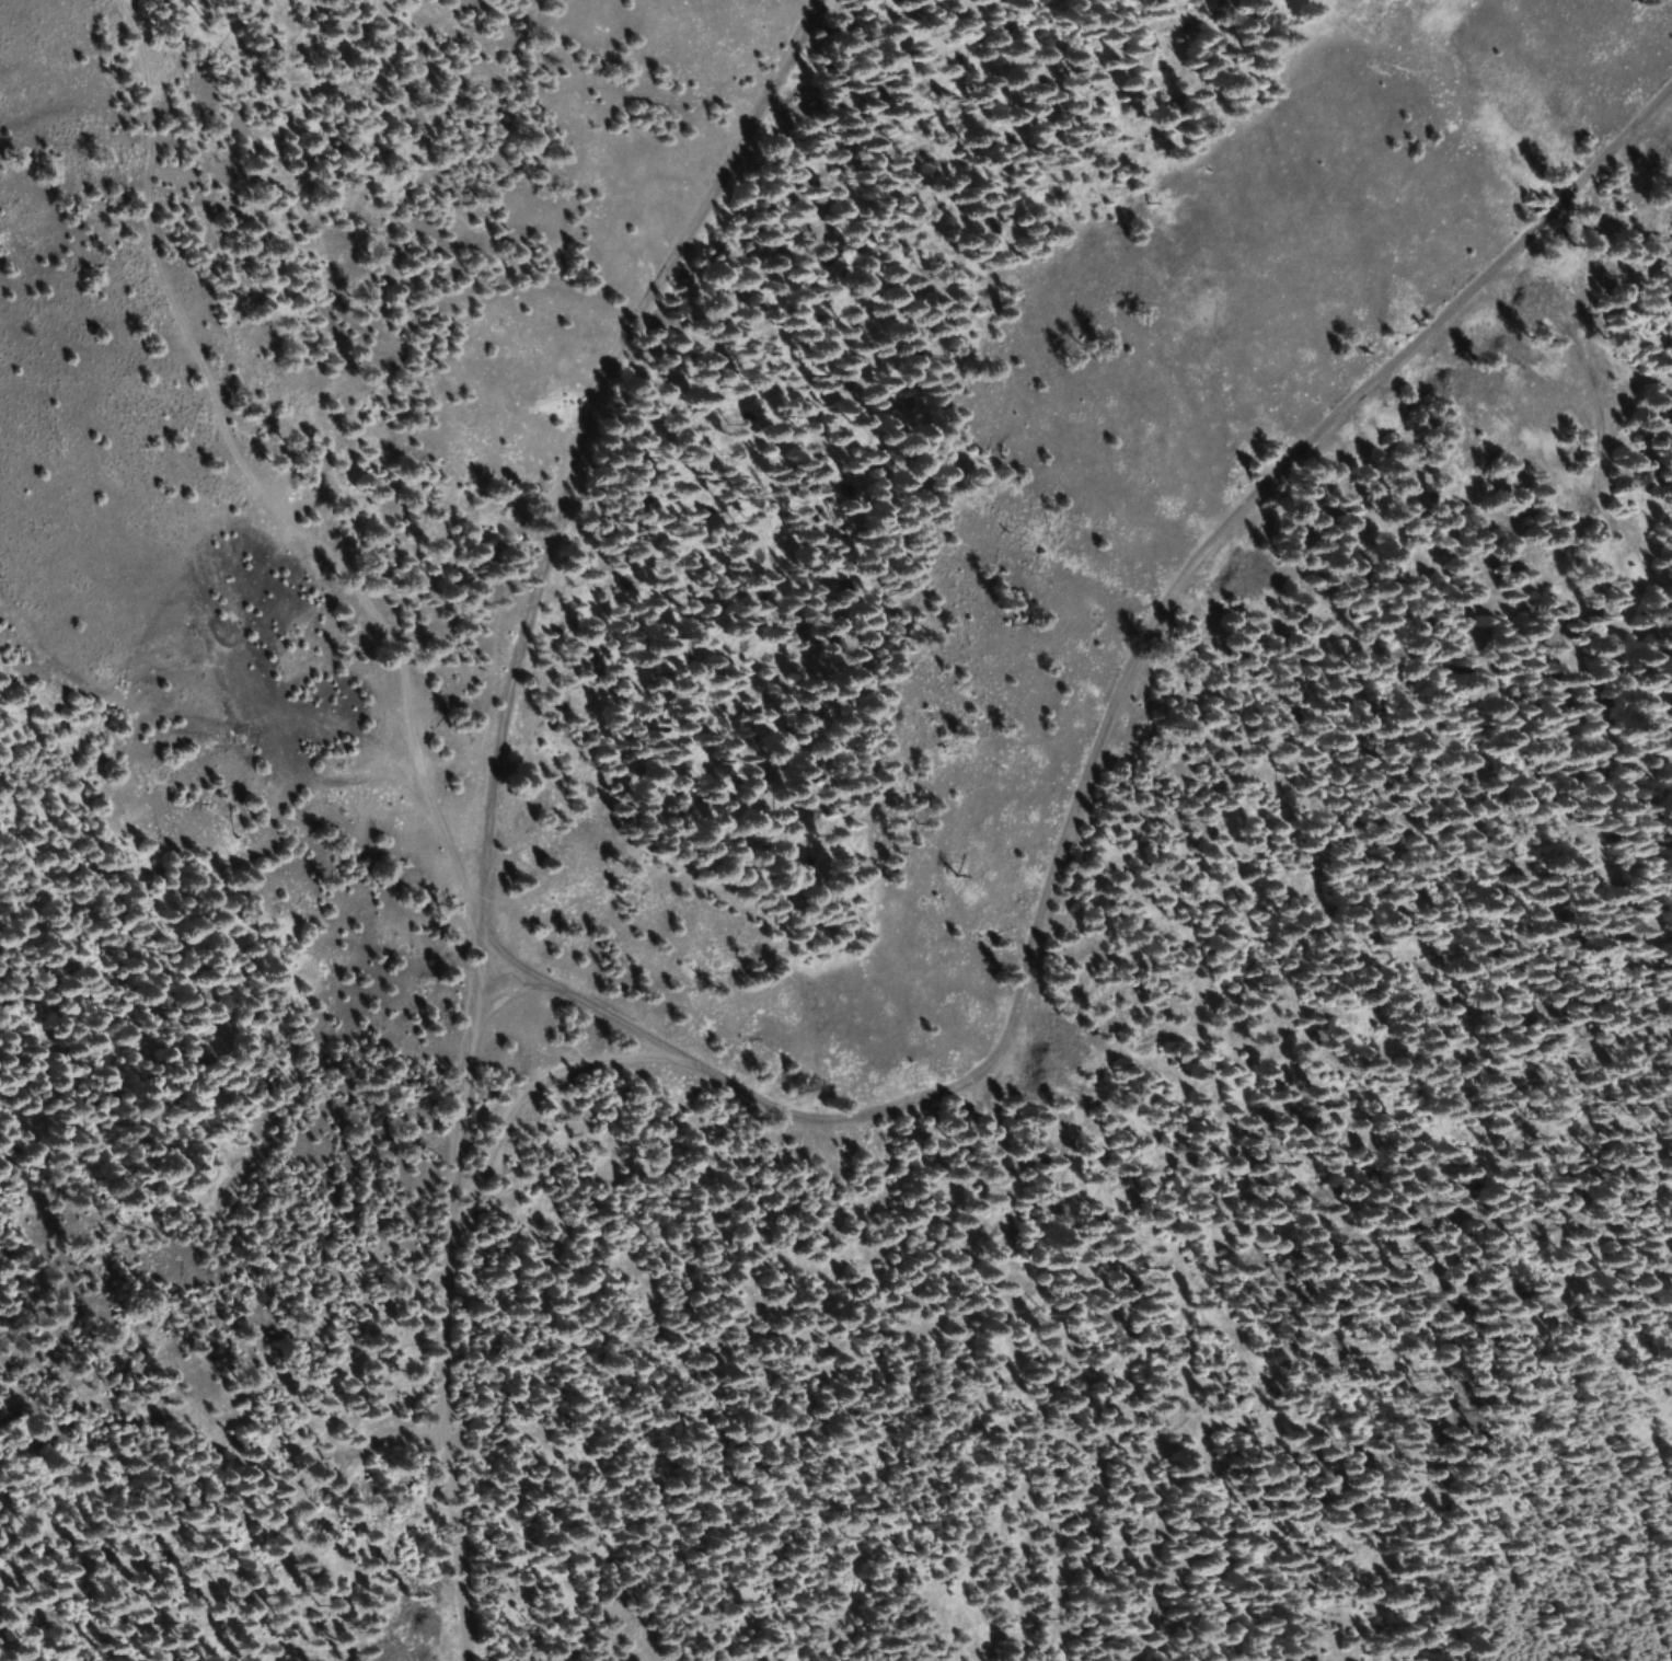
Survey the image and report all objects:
road: (1123, 797)
road: (547, 799)

